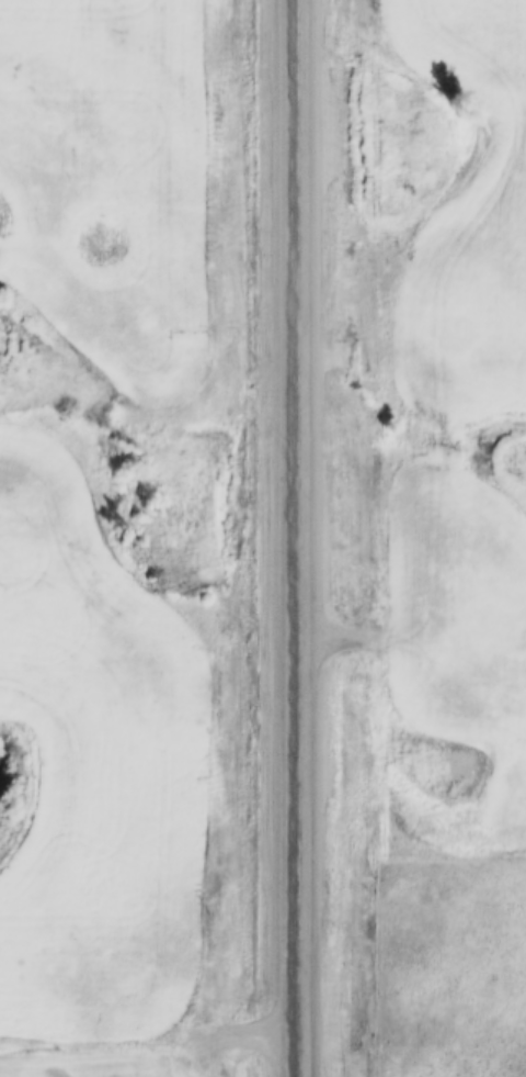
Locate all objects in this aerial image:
road: (300, 538)

